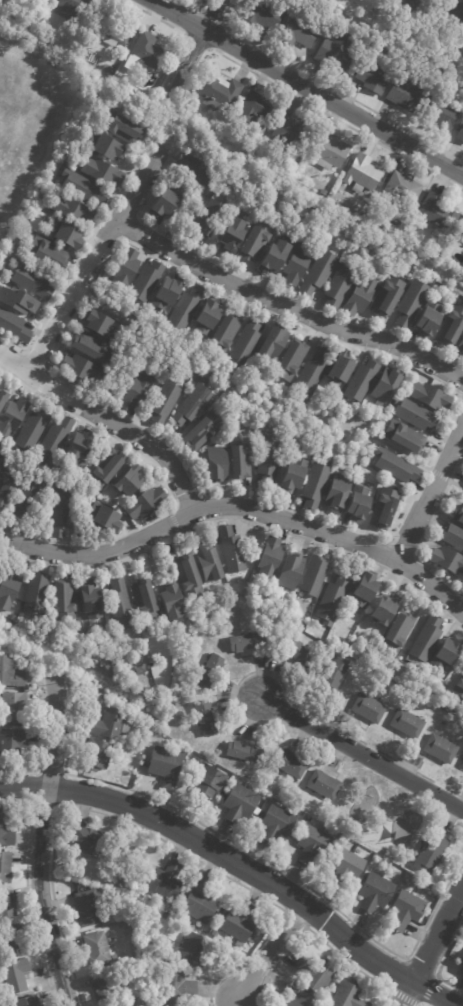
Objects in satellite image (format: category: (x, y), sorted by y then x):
building: (41, 4)
building: (77, 7)
building: (407, 7)
road: (191, 8)
building: (265, 14)
building: (453, 18)
building: (114, 26)
building: (301, 33)
road: (181, 34)
road: (183, 36)
building: (142, 49)
road: (192, 50)
building: (336, 53)
building: (102, 67)
building: (374, 76)
road: (330, 87)
road: (305, 88)
building: (217, 90)
building: (406, 94)
road: (309, 104)
building: (252, 108)
building: (445, 116)
building: (124, 128)
road: (175, 129)
building: (215, 129)
building: (294, 132)
building: (460, 135)
building: (105, 145)
building: (331, 151)
building: (197, 169)
building: (104, 172)
building: (364, 173)
building: (83, 187)
building: (403, 191)
building: (325, 192)
road: (147, 195)
building: (166, 201)
building: (72, 209)
building: (439, 213)
building: (211, 217)
building: (394, 230)
building: (29, 233)
building: (67, 234)
building: (235, 234)
road: (141, 235)
building: (462, 236)
building: (257, 241)
road: (0, 250)
building: (48, 254)
building: (275, 254)
road: (91, 259)
road: (34, 264)
building: (297, 264)
building: (126, 269)
building: (319, 271)
building: (32, 281)
building: (147, 281)
building: (341, 284)
road: (76, 288)
building: (170, 292)
road: (221, 292)
building: (361, 295)
building: (389, 296)
building: (19, 301)
building: (412, 303)
road: (288, 305)
building: (187, 309)
building: (208, 316)
building: (429, 319)
building: (102, 325)
road: (143, 325)
building: (14, 326)
building: (452, 326)
building: (226, 333)
building: (247, 343)
building: (275, 343)
building: (461, 346)
building: (94, 348)
building: (462, 352)
building: (292, 359)
building: (81, 368)
building: (342, 368)
building: (314, 371)
building: (362, 381)
road: (41, 382)
building: (388, 385)
building: (138, 391)
park: (244, 391)
building: (430, 396)
building: (2, 397)
building: (165, 399)
building: (194, 403)
road: (461, 403)
building: (11, 415)
building: (416, 415)
road: (109, 421)
road: (306, 424)
building: (32, 431)
road: (102, 431)
building: (200, 431)
building: (405, 437)
building: (54, 441)
building: (78, 447)
building: (0, 456)
building: (240, 458)
building: (269, 459)
building: (217, 464)
building: (397, 466)
building: (108, 469)
building: (294, 474)
road: (438, 474)
building: (127, 480)
building: (316, 484)
road: (456, 484)
building: (8, 489)
building: (339, 491)
road: (430, 493)
building: (27, 495)
building: (145, 503)
building: (359, 503)
road: (238, 505)
building: (385, 508)
road: (433, 511)
building: (62, 512)
building: (457, 513)
building: (108, 516)
road: (238, 517)
road: (174, 521)
building: (451, 535)
building: (232, 550)
building: (271, 558)
building: (444, 558)
building: (210, 565)
building: (291, 572)
building: (191, 575)
building: (315, 575)
road: (420, 576)
building: (9, 589)
building: (365, 589)
building: (37, 590)
building: (283, 593)
building: (397, 594)
building: (333, 598)
building: (64, 601)
building: (146, 601)
building: (91, 602)
building: (173, 602)
building: (121, 607)
building: (382, 609)
building: (398, 632)
building: (428, 638)
building: (248, 642)
building: (447, 653)
building: (299, 654)
building: (142, 670)
building: (11, 672)
building: (211, 672)
building: (337, 672)
building: (459, 687)
building: (15, 706)
building: (369, 708)
building: (207, 718)
building: (408, 723)
building: (112, 726)
road: (333, 726)
road: (43, 743)
building: (13, 744)
building: (441, 748)
building: (245, 752)
road: (362, 754)
building: (98, 755)
building: (293, 764)
building: (462, 765)
building: (166, 766)
building: (208, 785)
building: (324, 785)
building: (243, 802)
road: (57, 806)
building: (277, 824)
building: (6, 830)
road: (142, 830)
building: (89, 840)
building: (313, 846)
road: (41, 849)
building: (360, 850)
building: (431, 853)
road: (258, 857)
road: (239, 865)
building: (6, 868)
building: (347, 869)
building: (167, 883)
road: (26, 890)
building: (376, 893)
building: (200, 903)
building: (160, 904)
building: (7, 906)
building: (411, 907)
building: (89, 909)
building: (240, 923)
road: (307, 926)
road: (317, 936)
building: (13, 942)
building: (241, 946)
road: (431, 947)
building: (1, 949)
building: (98, 950)
building: (199, 951)
road: (270, 951)
road: (405, 957)
road: (441, 962)
building: (461, 964)
building: (137, 967)
building: (317, 975)
building: (17, 977)
building: (107, 987)
building: (179, 990)
road: (428, 990)
building: (348, 996)
road: (402, 997)
building: (28, 1001)
building: (303, 1001)
building: (1, 1003)
building: (129, 1005)
road: (423, 1005)

